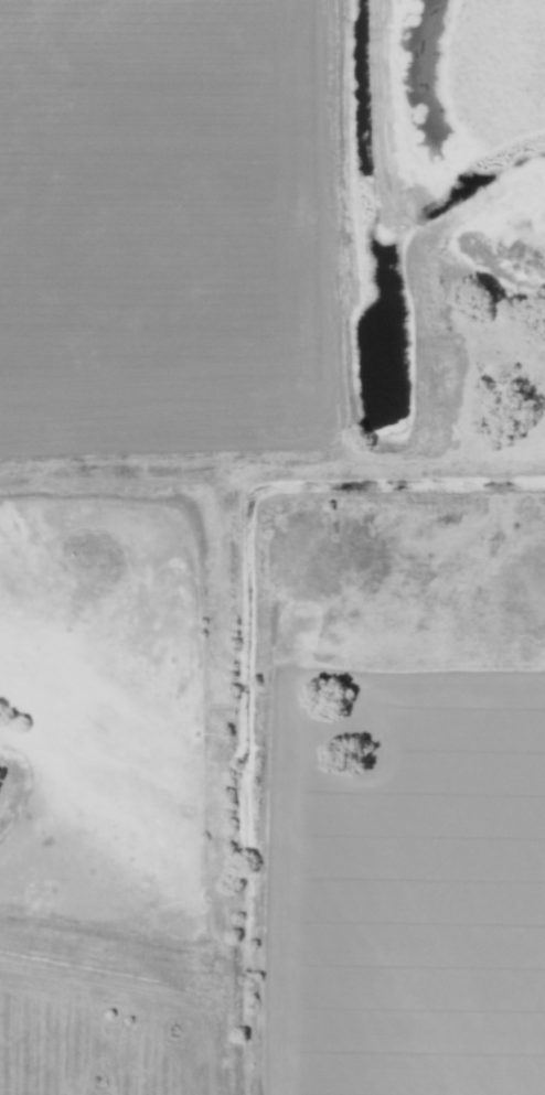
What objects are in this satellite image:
crop: (183, 214)
crop: (387, 870)

